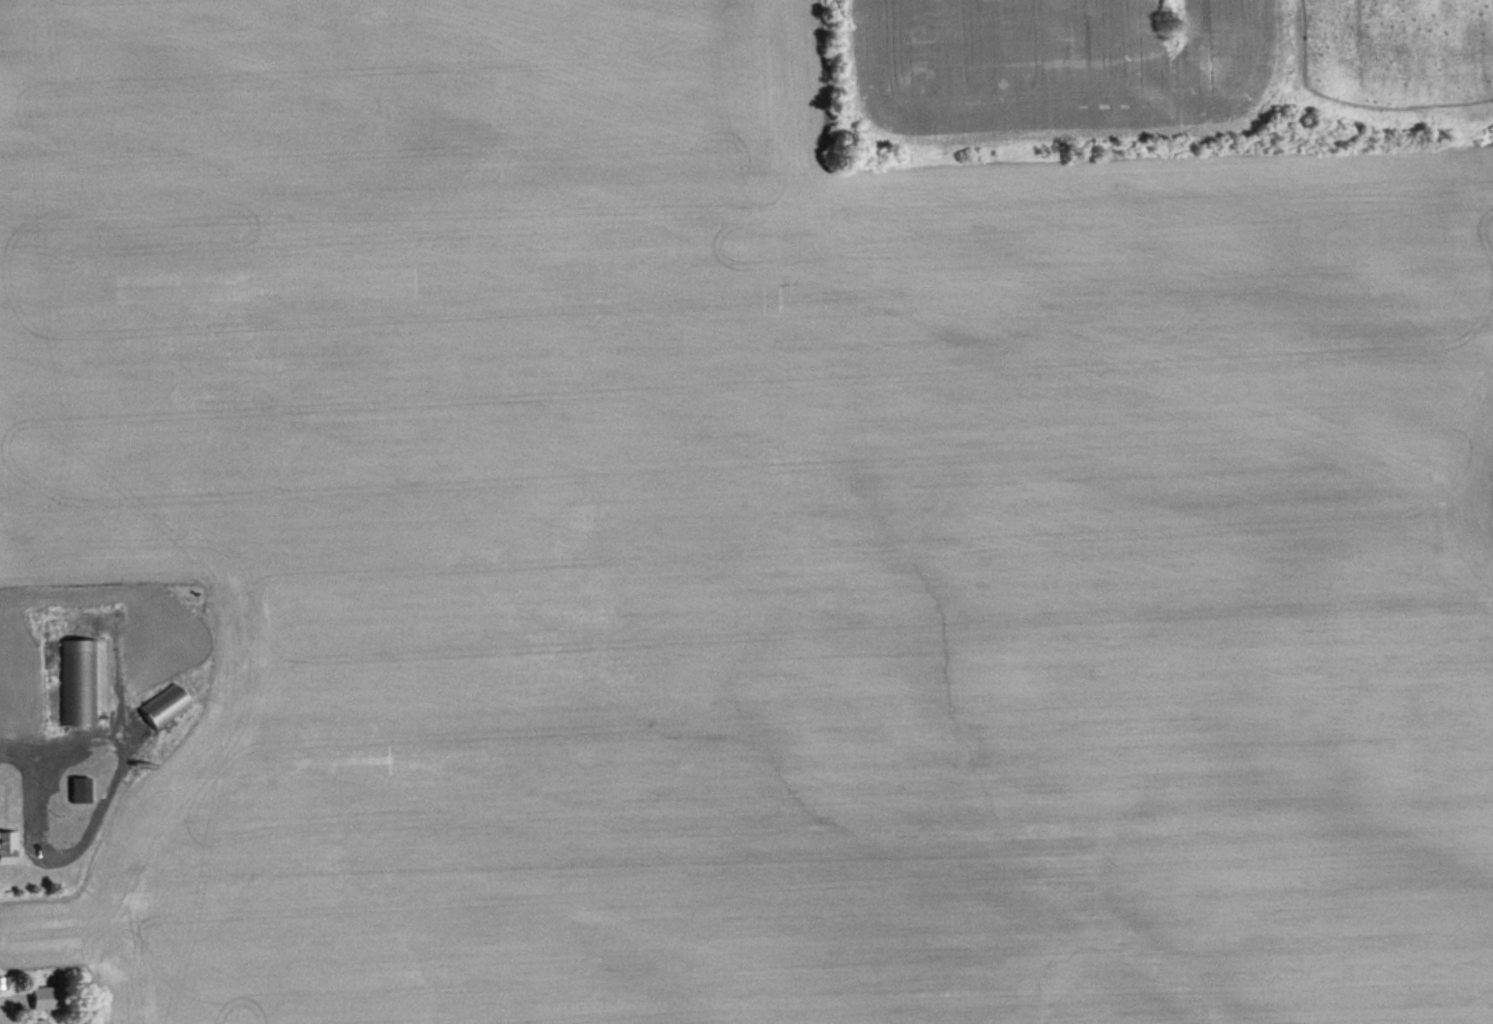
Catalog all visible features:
building: (78, 682)
building: (165, 705)
building: (81, 790)
building: (8, 848)
building: (47, 997)
building: (38, 1021)

